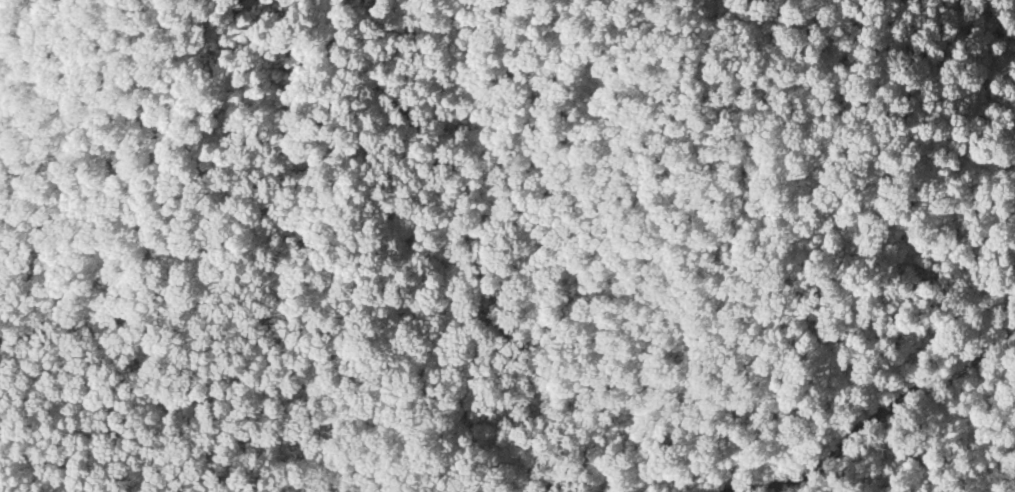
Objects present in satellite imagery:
road: (877, 415)

